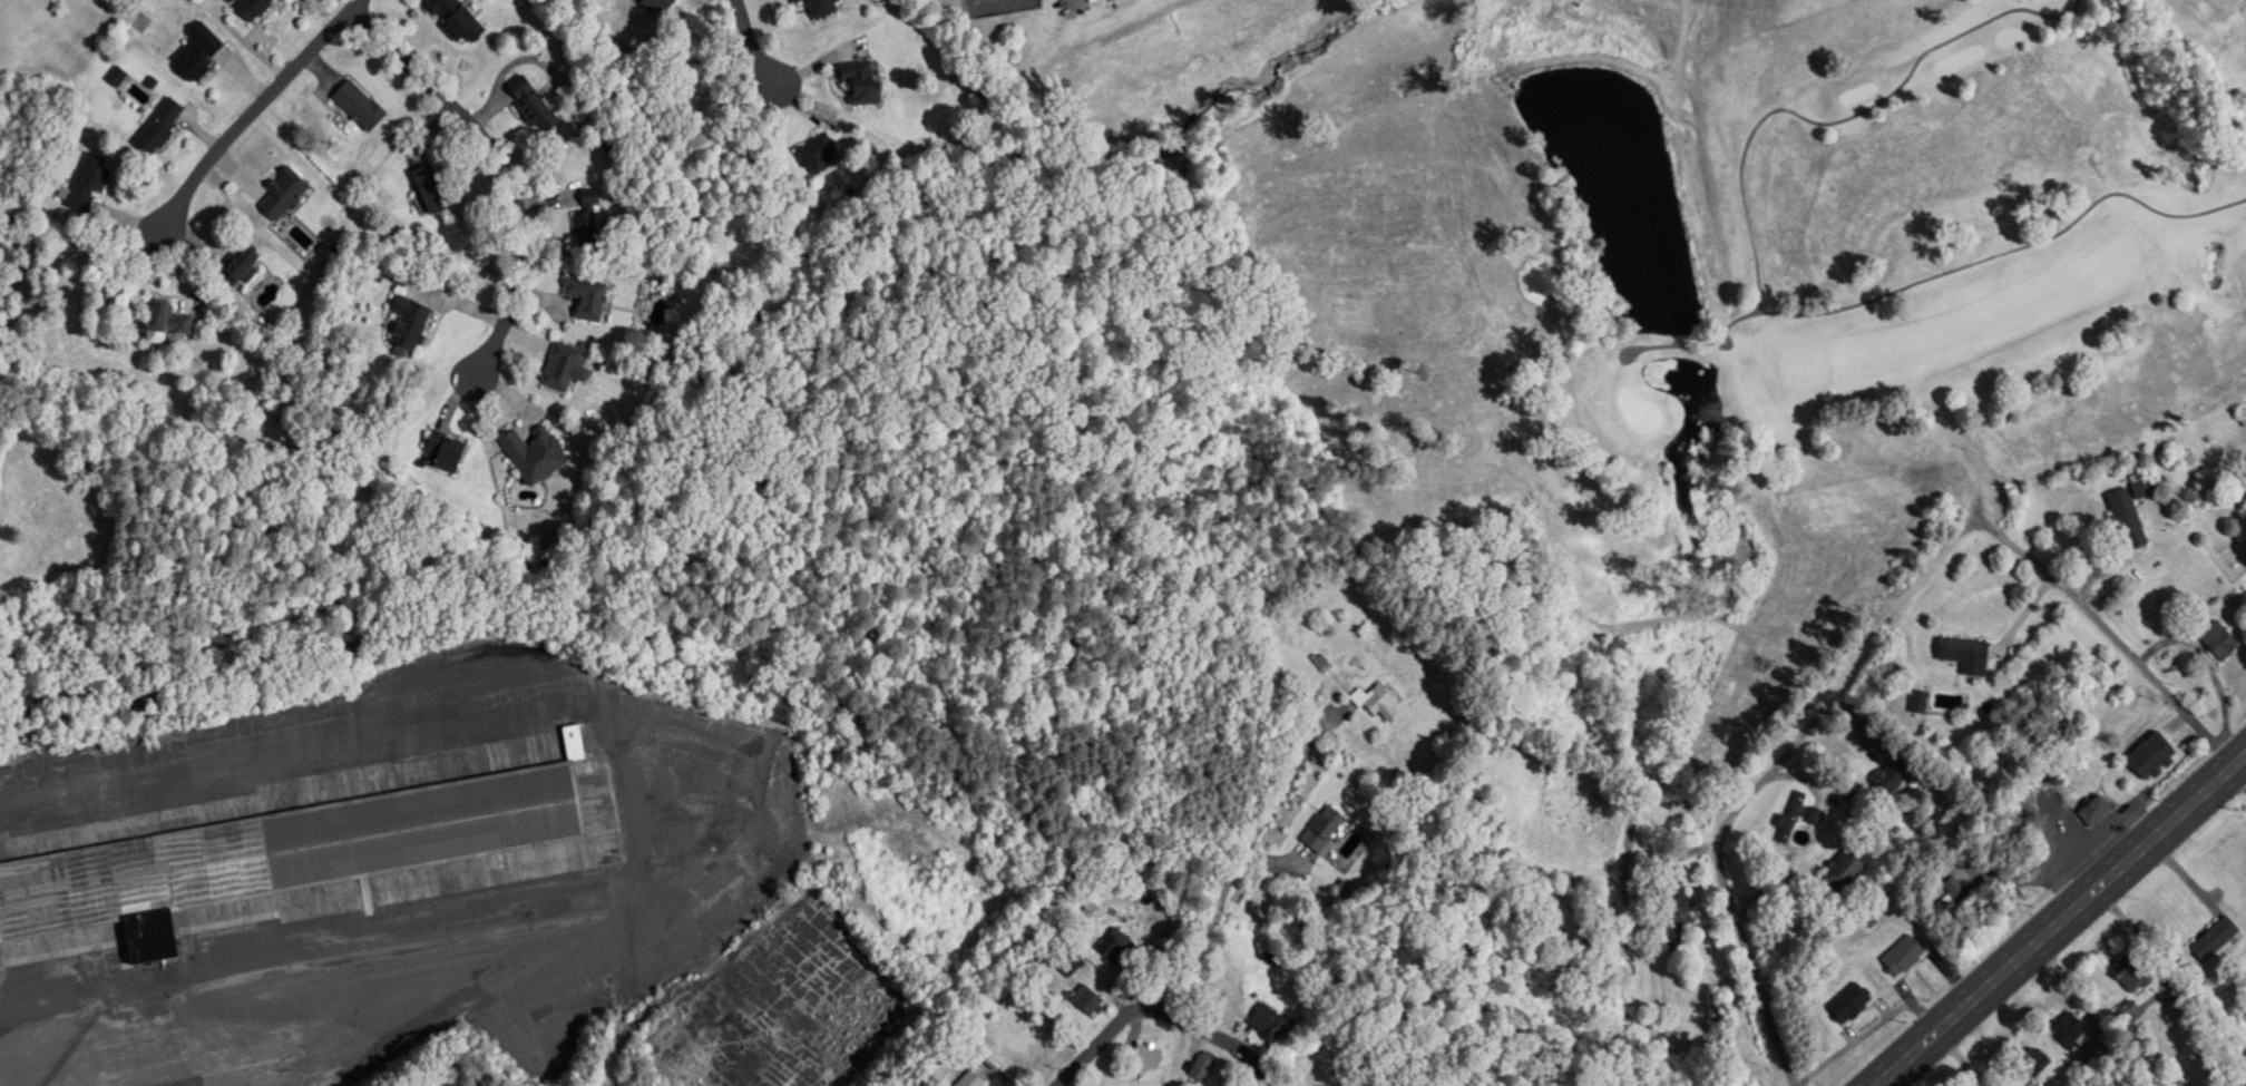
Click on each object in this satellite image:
building: (1112, 0)
building: (798, 1)
building: (662, 4)
building: (252, 8)
building: (823, 8)
building: (457, 19)
road: (750, 43)
building: (199, 52)
building: (863, 82)
building: (361, 106)
building: (537, 108)
road: (255, 109)
building: (162, 126)
building: (819, 154)
road: (504, 170)
building: (90, 183)
building: (432, 189)
building: (285, 194)
building: (589, 223)
building: (241, 265)
building: (589, 299)
building: (169, 321)
building: (411, 323)
building: (567, 368)
building: (447, 451)
building: (537, 454)
building: (2144, 488)
building: (2128, 519)
building: (2220, 642)
building: (1966, 655)
road: (2144, 666)
building: (1921, 702)
building: (1380, 703)
building: (2154, 756)
road: (1798, 774)
building: (1889, 779)
road: (2237, 779)
building: (2097, 812)
building: (1793, 819)
building: (1325, 830)
building: (275, 858)
road: (1237, 865)
building: (1845, 872)
road: (2060, 921)
building: (2216, 939)
road: (2144, 941)
building: (1905, 956)
building: (2133, 974)
building: (1088, 1000)
road: (1764, 1002)
building: (1852, 1002)
road: (1161, 1010)
building: (1268, 1023)
building: (2072, 1030)
road: (614, 1049)
building: (1149, 1056)
building: (2034, 1061)
building: (1204, 1067)
building: (973, 1080)
road: (608, 1085)

